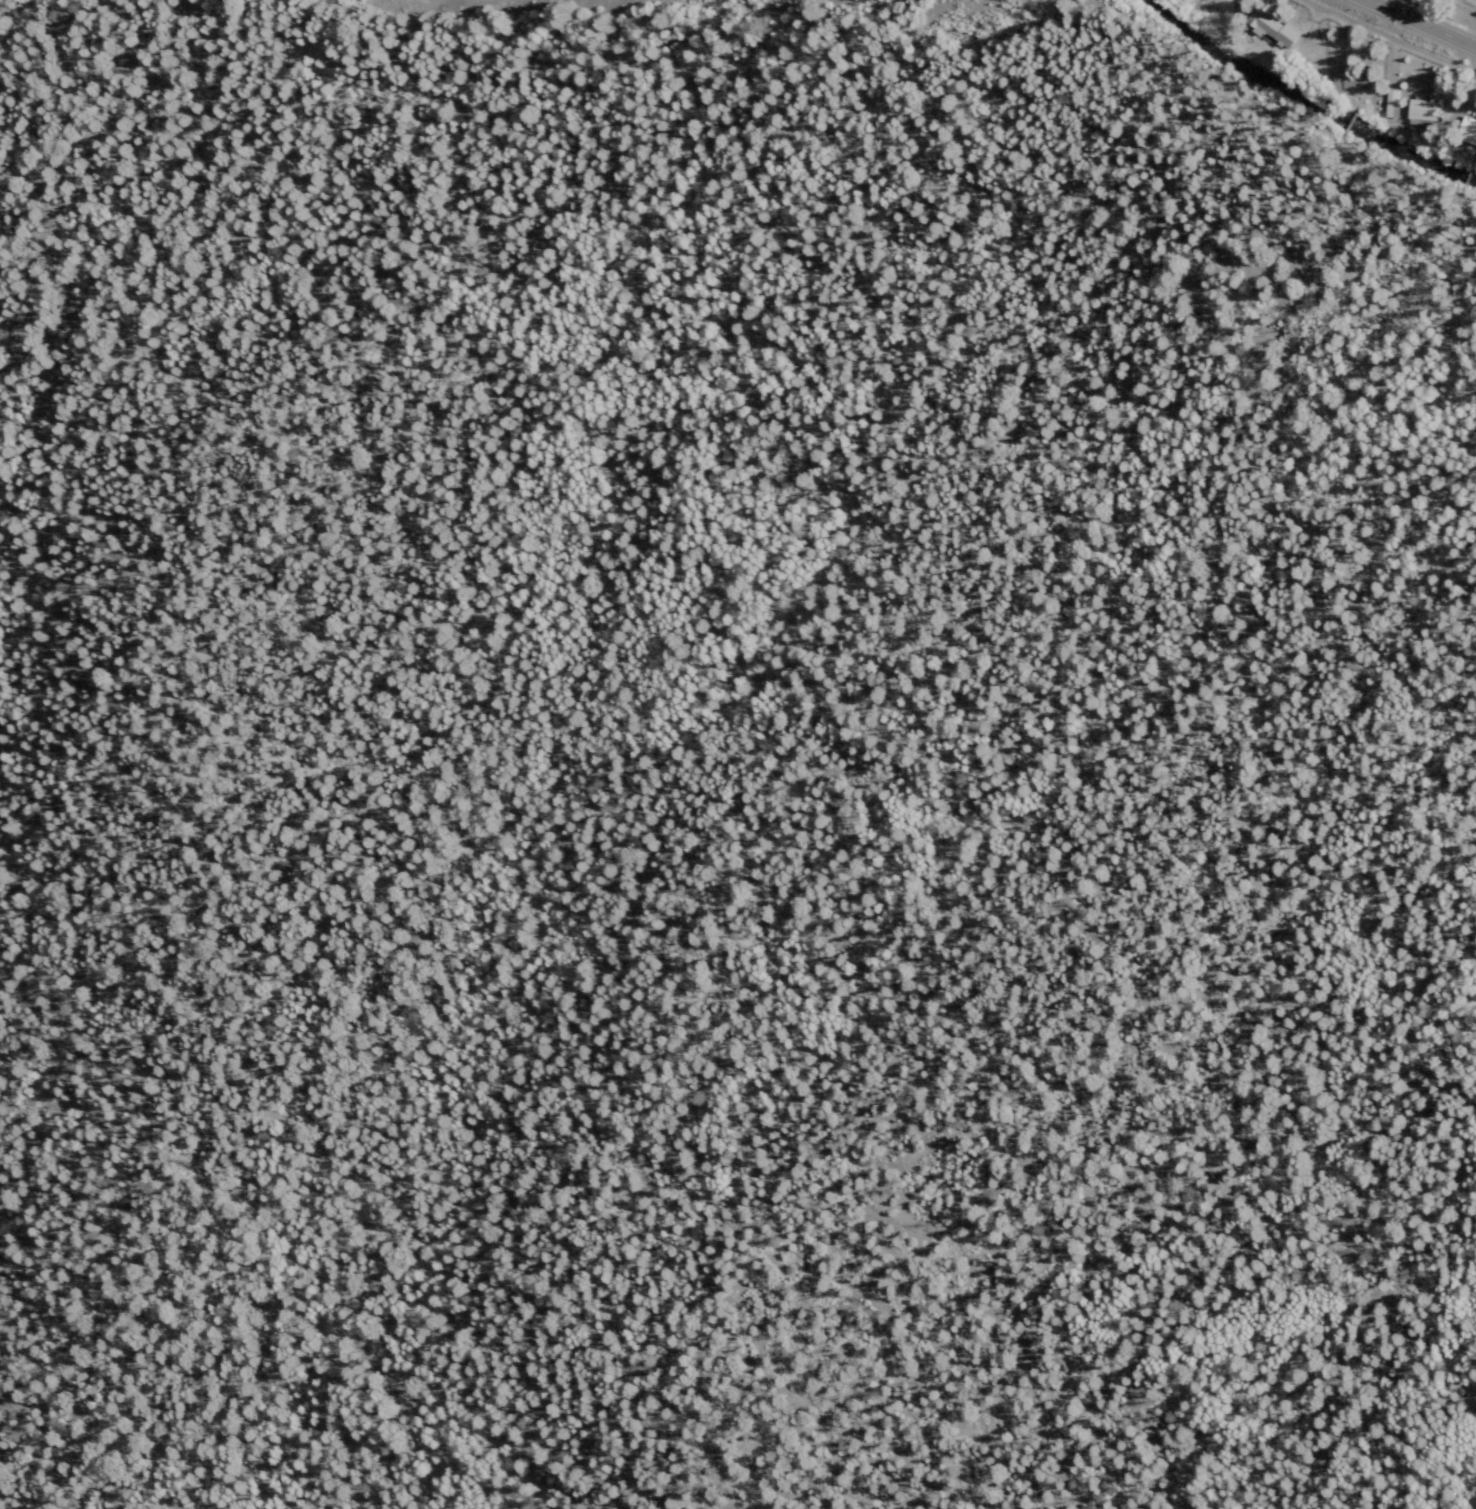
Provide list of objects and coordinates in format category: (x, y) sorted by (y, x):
road: (1421, 23)
building: (1271, 27)
road: (1391, 37)
building: (1346, 82)
river: (1311, 95)
building: (1420, 109)
building: (1391, 110)
road: (1352, 121)
building: (1466, 129)
road: (1468, 176)

